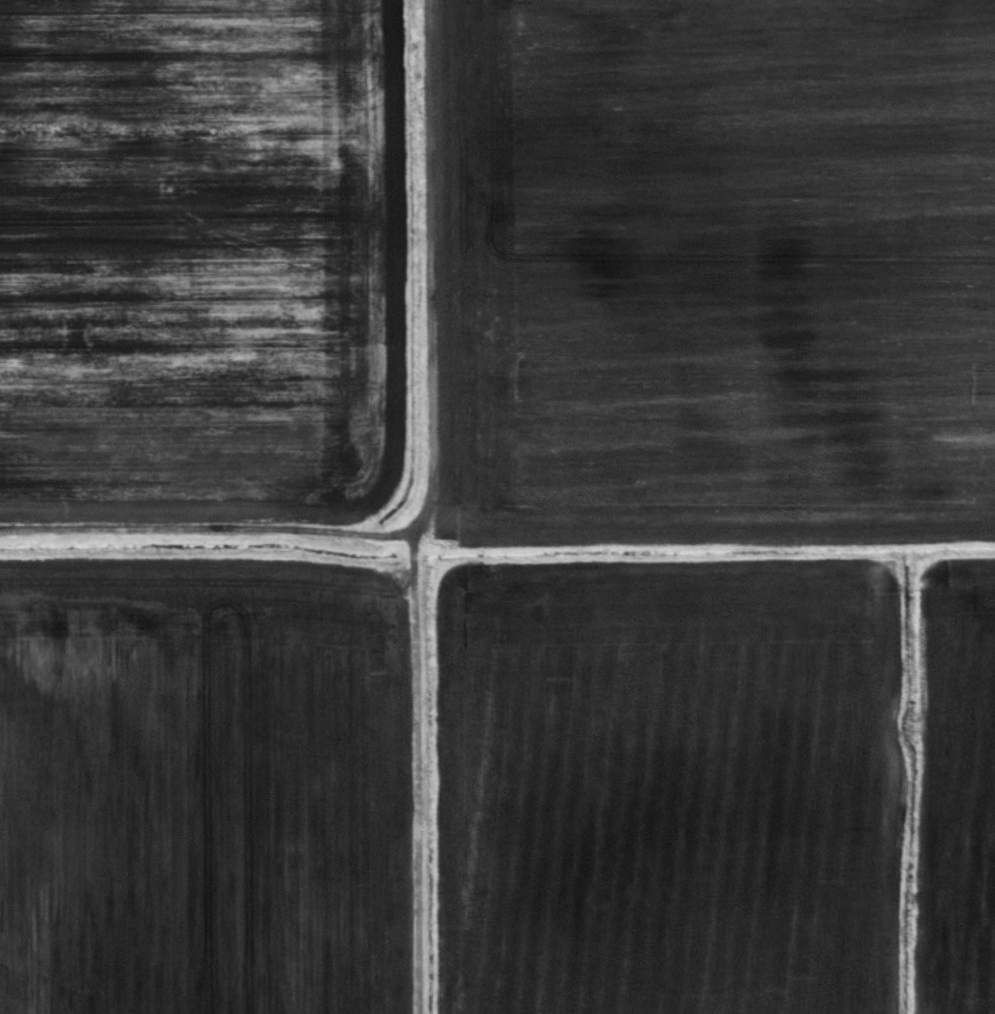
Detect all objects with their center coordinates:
road: (428, 474)

